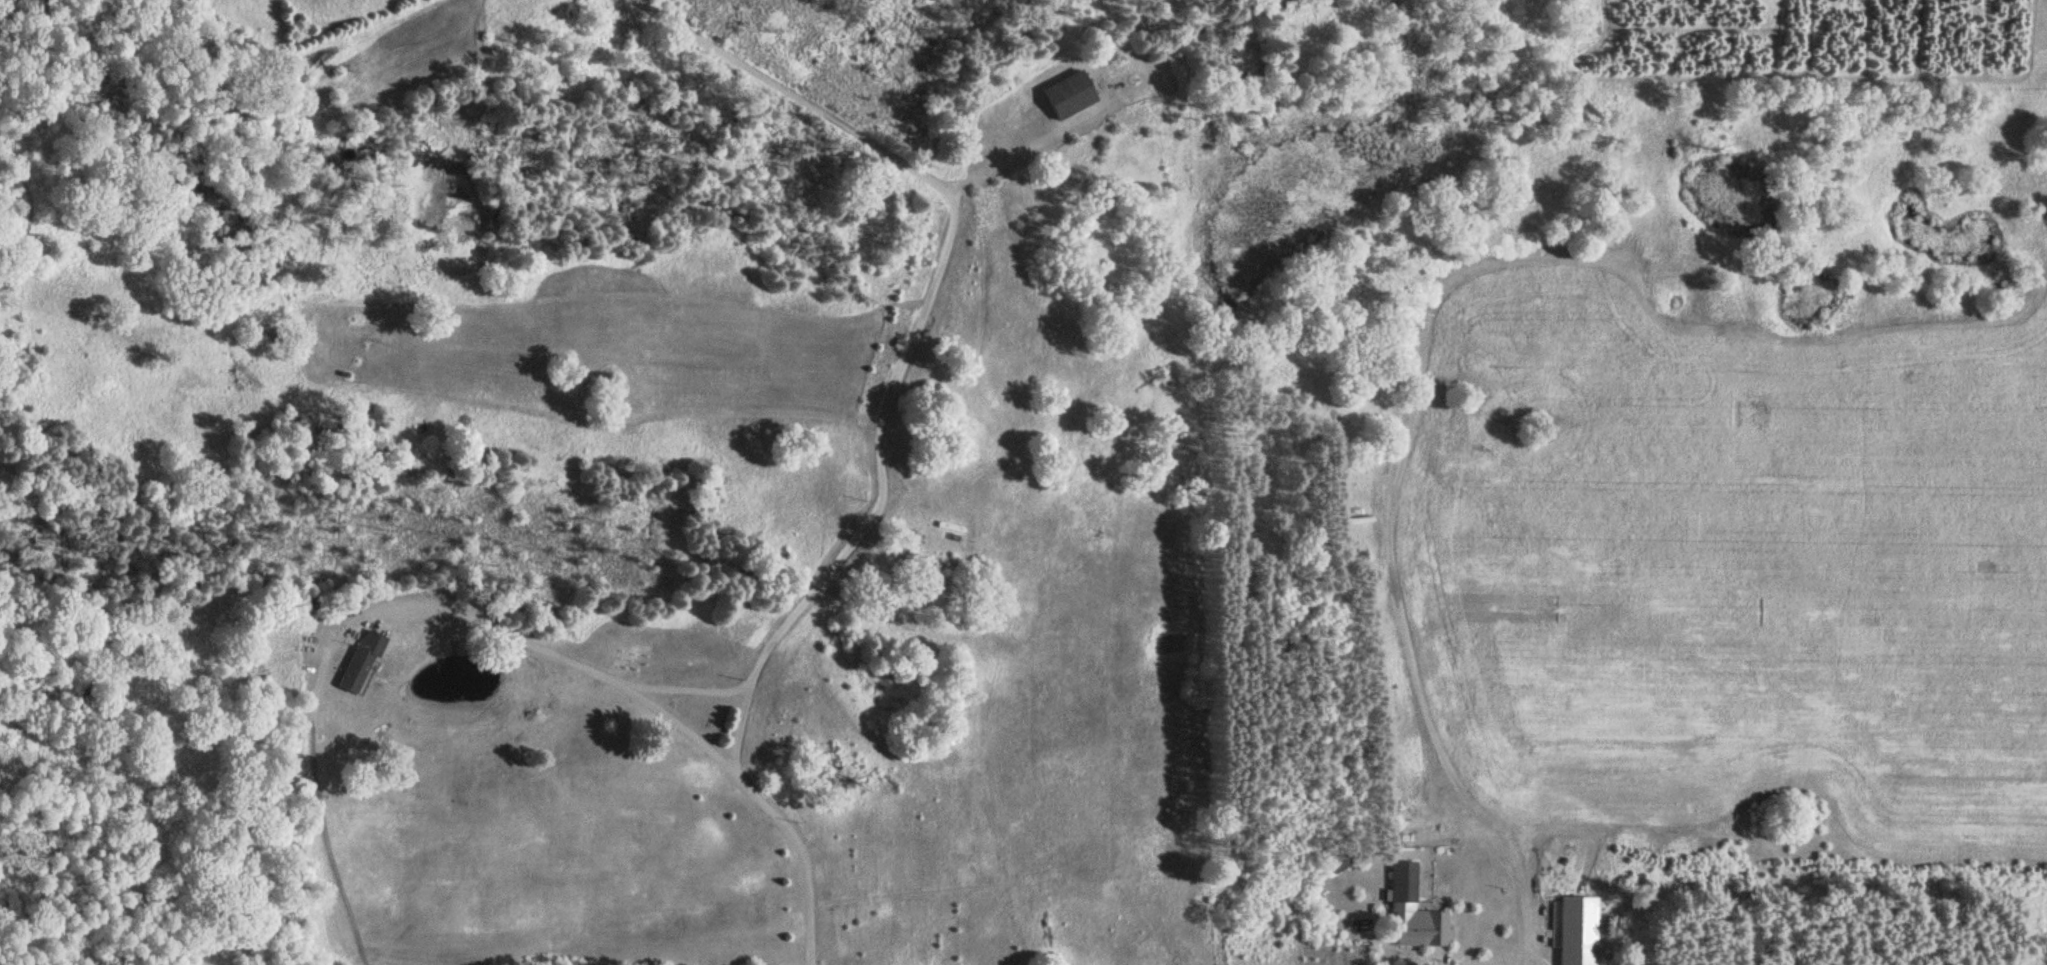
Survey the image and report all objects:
road: (791, 93)
building: (1071, 95)
road: (881, 500)
building: (359, 656)
road: (574, 662)
road: (679, 688)
road: (1637, 825)
road: (803, 860)
building: (1338, 862)
building: (1411, 910)
building: (1576, 929)
road: (1408, 942)
road: (1418, 951)
road: (1432, 954)

